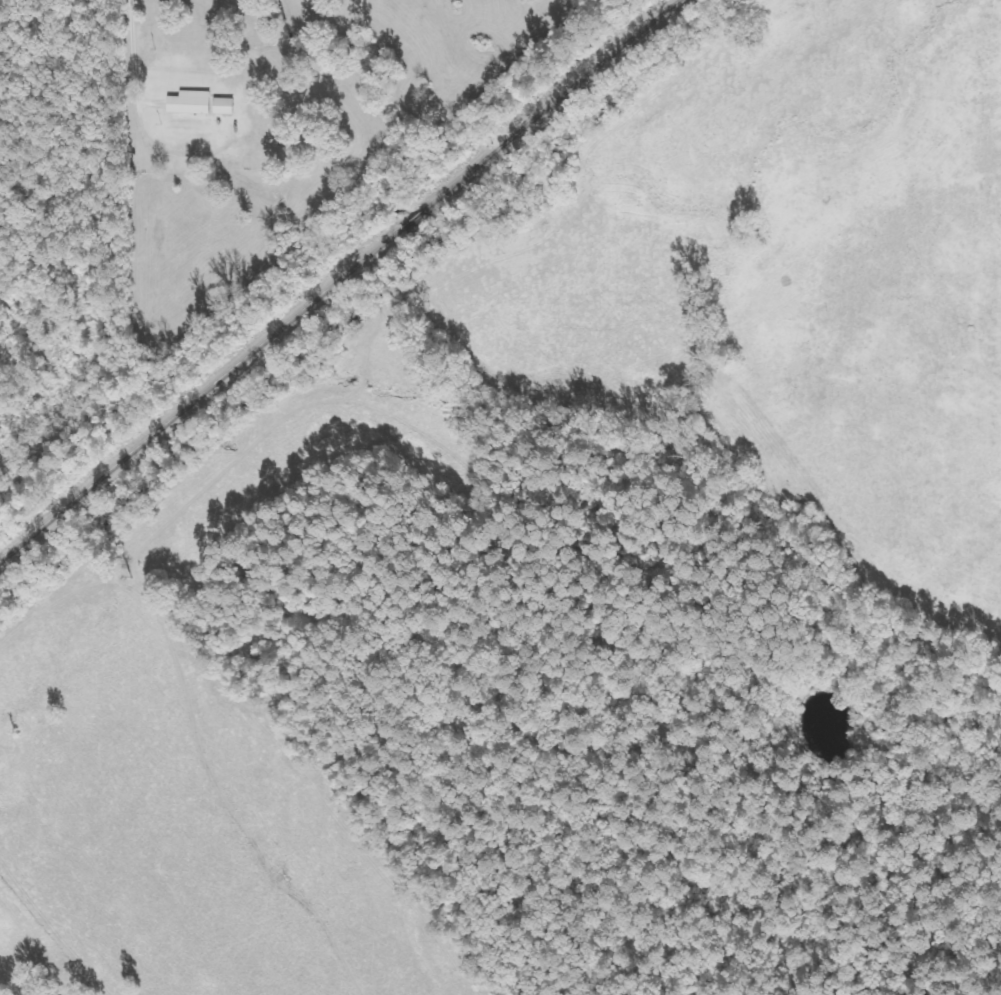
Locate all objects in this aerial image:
building: (188, 102)
building: (223, 105)
railway: (336, 278)

